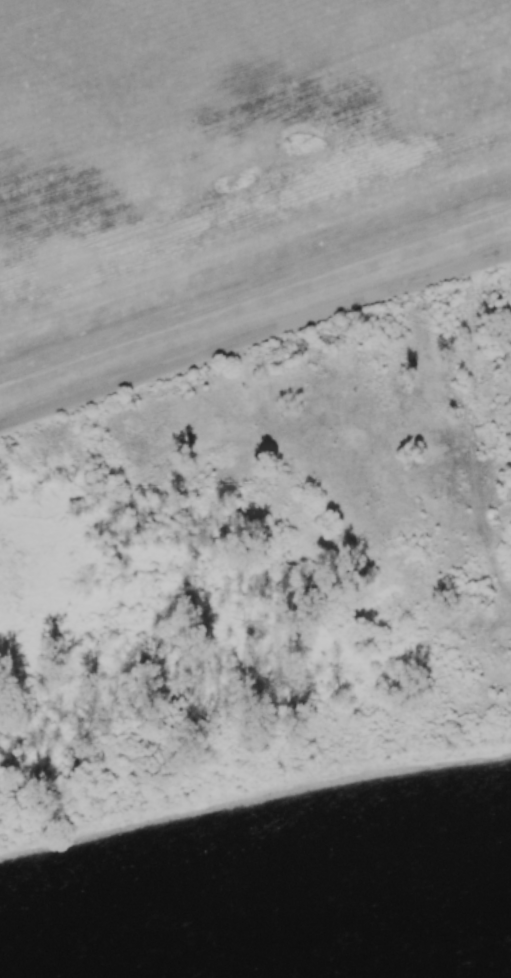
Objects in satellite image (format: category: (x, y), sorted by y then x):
road: (483, 259)
park: (490, 295)
road: (227, 345)

